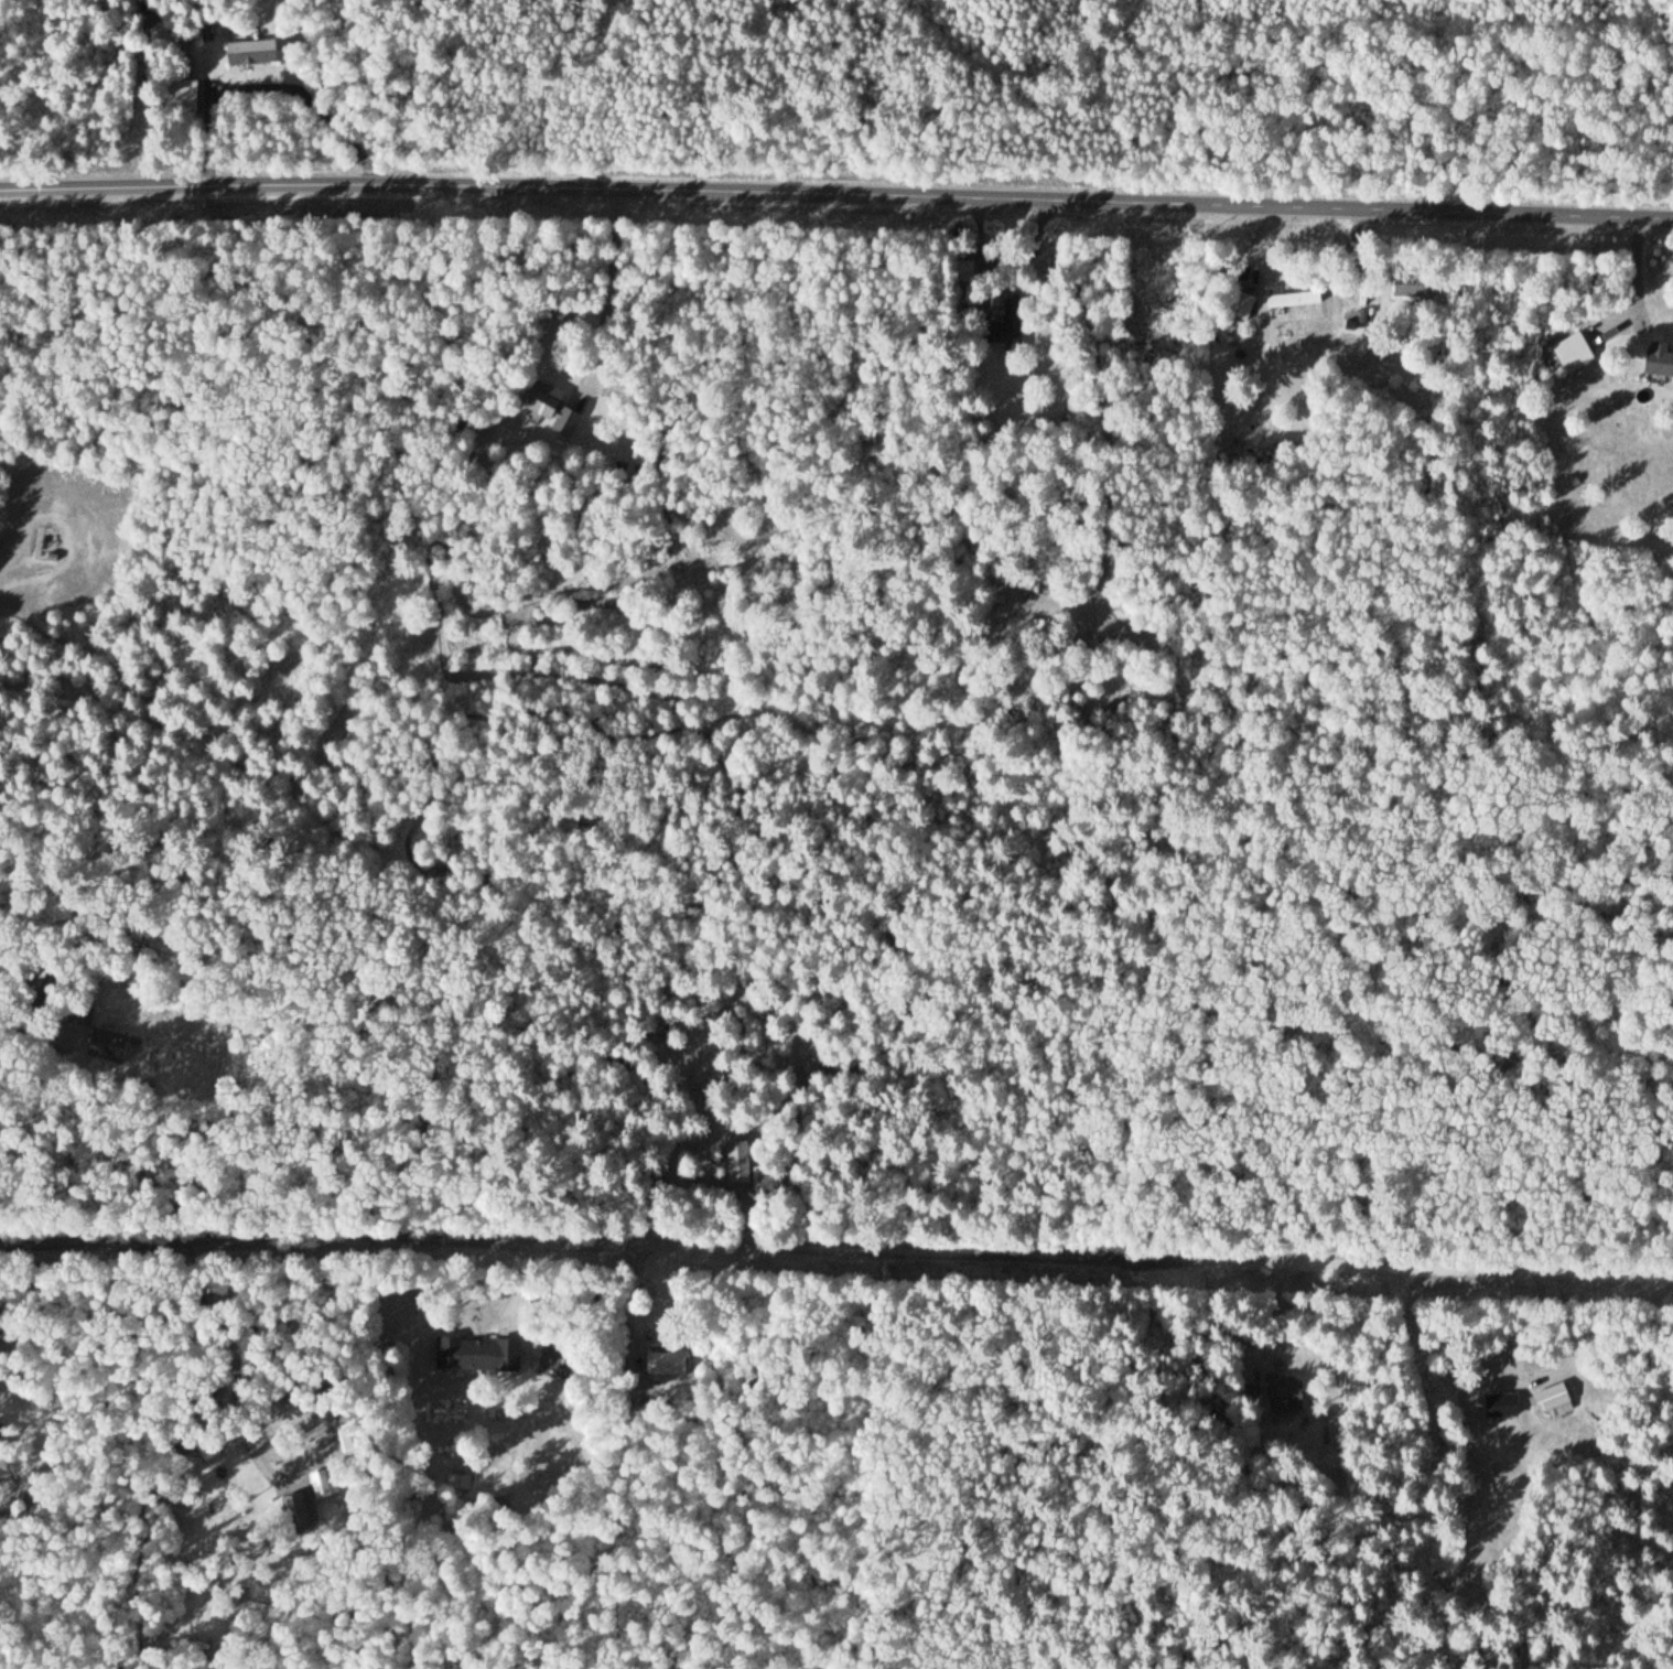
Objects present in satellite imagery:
building: (164, 39)
building: (248, 53)
building: (184, 96)
road: (836, 200)
building: (963, 269)
building: (1413, 286)
building: (1293, 300)
building: (1237, 304)
building: (1003, 324)
building: (1572, 353)
building: (1658, 359)
building: (548, 406)
building: (83, 1015)
building: (97, 1038)
building: (636, 1083)
building: (736, 1165)
road: (836, 1253)
building: (477, 1354)
building: (666, 1363)
building: (1283, 1392)
building: (1553, 1399)
building: (1501, 1404)
building: (207, 1447)
building: (202, 1480)
building: (460, 1485)
building: (294, 1509)

